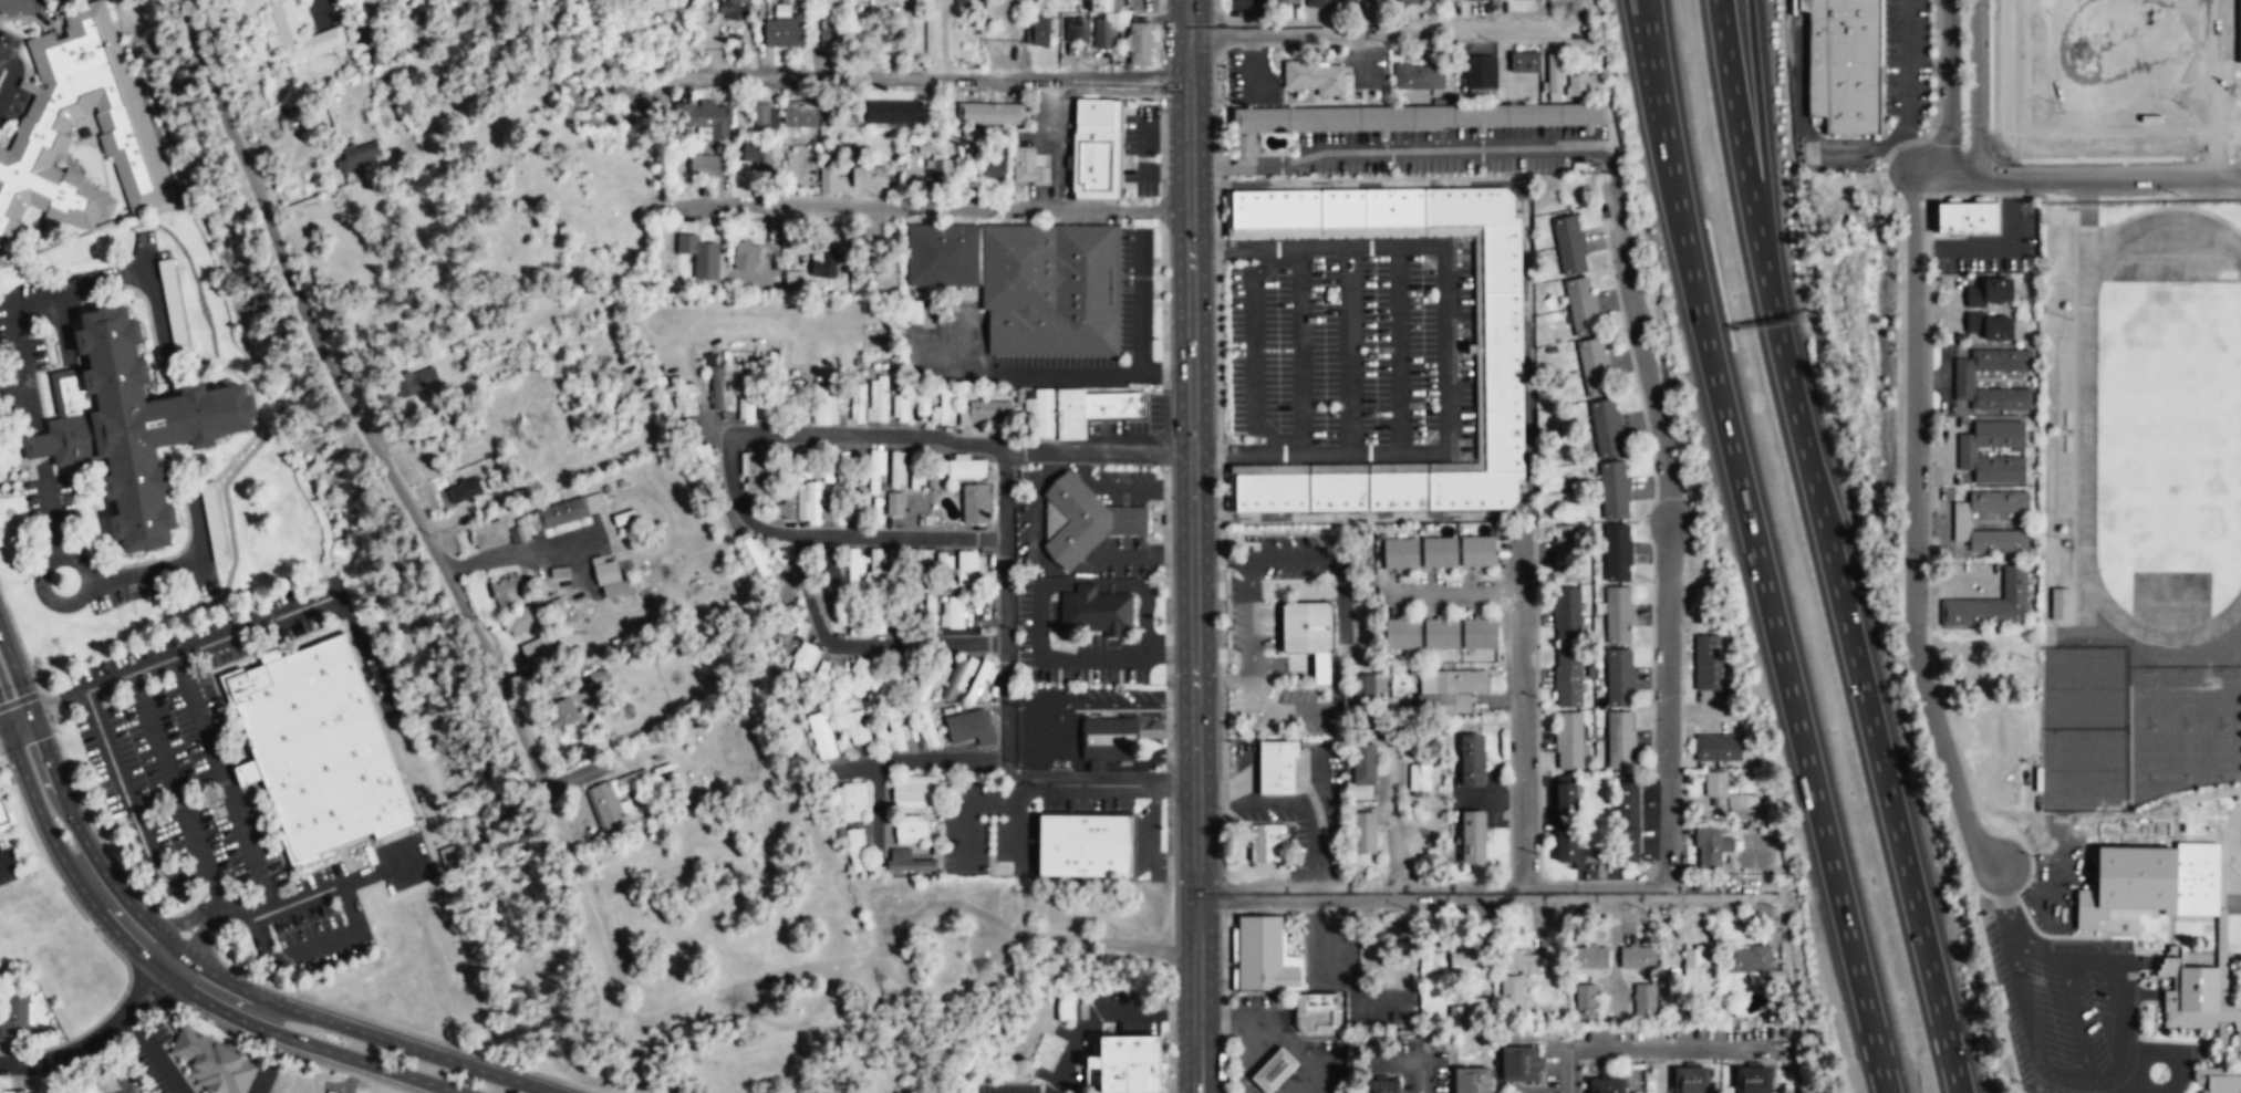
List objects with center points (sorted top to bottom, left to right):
building: (959, 1)
building: (1288, 1)
building: (1410, 2)
building: (1331, 3)
building: (1102, 6)
building: (734, 10)
road: (1251, 14)
road: (1374, 27)
building: (828, 28)
building: (1077, 29)
building: (2240, 30)
building: (1038, 32)
building: (784, 33)
building: (1102, 33)
building: (298, 34)
road: (2118, 39)
building: (1140, 43)
building: (1525, 62)
parking lot: (1366, 64)
building: (1844, 64)
building: (1480, 73)
building: (1316, 76)
parking lot: (2112, 76)
building: (1419, 77)
building: (1554, 77)
road: (940, 79)
parking lot: (1252, 79)
road: (2118, 81)
building: (1580, 85)
road: (2221, 87)
road: (1948, 89)
road: (1975, 89)
road: (1648, 90)
building: (631, 103)
building: (892, 112)
building: (988, 113)
building: (761, 116)
building: (801, 116)
building: (706, 119)
building: (1401, 119)
road: (2231, 125)
road: (2054, 126)
building: (41, 133)
building: (974, 138)
road: (1761, 143)
building: (1097, 147)
road: (1445, 149)
building: (355, 158)
building: (757, 158)
building: (1030, 166)
building: (941, 167)
building: (702, 168)
building: (994, 168)
road: (1608, 168)
road: (1243, 169)
road: (2108, 176)
road: (1946, 177)
building: (865, 178)
building: (828, 179)
building: (1471, 205)
building: (1345, 206)
building: (1398, 206)
road: (930, 208)
building: (1278, 208)
building: (1968, 217)
road: (1315, 246)
building: (1568, 247)
building: (698, 256)
building: (1503, 257)
building: (745, 258)
road: (1266, 261)
building: (823, 267)
building: (676, 272)
building: (881, 275)
building: (795, 280)
building: (1029, 281)
parking lot: (1135, 289)
building: (1990, 292)
building: (1583, 308)
building: (174, 309)
building: (1989, 327)
road: (1443, 334)
road: (1349, 348)
road: (1398, 348)
road: (1254, 350)
road: (1300, 350)
building: (1504, 350)
building: (1594, 368)
parking lot: (1054, 369)
building: (1963, 381)
building: (418, 383)
building: (715, 386)
building: (793, 387)
road: (25, 395)
road: (346, 400)
building: (686, 400)
building: (878, 400)
building: (901, 404)
building: (857, 405)
building: (826, 407)
building: (945, 407)
building: (746, 409)
building: (1094, 409)
building: (985, 414)
building: (1039, 414)
track: (2086, 418)
building: (131, 425)
park: (2168, 426)
building: (1606, 429)
road: (799, 436)
road: (1272, 436)
building: (1505, 440)
road: (1098, 450)
road: (1327, 452)
building: (1967, 452)
building: (703, 454)
building: (961, 469)
building: (896, 470)
building: (875, 472)
building: (755, 476)
building: (916, 478)
building: (477, 488)
building: (1475, 489)
building: (1401, 490)
building: (1341, 491)
building: (1615, 491)
building: (840, 492)
building: (1274, 492)
building: (976, 503)
building: (810, 504)
building: (895, 504)
building: (784, 508)
building: (558, 516)
building: (839, 518)
building: (624, 519)
building: (1087, 519)
building: (1961, 522)
road: (1912, 529)
building: (489, 535)
road: (903, 535)
road: (1669, 539)
road: (1191, 545)
building: (1566, 546)
road: (1754, 548)
road: (1827, 548)
road: (519, 552)
building: (1476, 552)
building: (1438, 553)
building: (1617, 553)
building: (1400, 555)
parking lot: (1284, 556)
building: (757, 558)
building: (922, 558)
building: (876, 565)
road: (584, 566)
building: (853, 569)
building: (968, 569)
building: (943, 570)
building: (558, 577)
building: (611, 580)
building: (507, 591)
road: (1460, 594)
building: (1991, 604)
building: (2060, 604)
road: (1006, 606)
building: (557, 610)
building: (1097, 610)
building: (953, 614)
building: (1618, 615)
building: (1567, 617)
building: (519, 622)
building: (1309, 625)
road: (252, 627)
building: (1403, 635)
building: (1441, 635)
building: (1479, 635)
road: (860, 645)
building: (537, 656)
building: (803, 660)
building: (1710, 664)
building: (860, 677)
building: (1619, 677)
building: (955, 679)
building: (1568, 679)
building: (892, 680)
road: (102, 685)
building: (925, 686)
park: (2085, 687)
building: (1363, 690)
building: (1453, 691)
road: (1522, 718)
road: (15, 724)
building: (971, 728)
park: (2182, 728)
building: (855, 729)
building: (895, 729)
building: (925, 729)
building: (1110, 737)
building: (820, 738)
building: (1620, 739)
building: (1569, 740)
building: (318, 749)
building: (1721, 749)
building: (1471, 761)
building: (1096, 764)
building: (1278, 766)
building: (1363, 766)
road: (167, 769)
park: (2085, 769)
road: (1018, 773)
building: (1419, 781)
road: (1082, 783)
road: (221, 784)
building: (630, 784)
road: (1163, 784)
building: (915, 791)
building: (1722, 791)
building: (1567, 797)
road: (131, 800)
road: (2181, 800)
building: (851, 801)
road: (1391, 810)
building: (608, 812)
building: (2, 819)
building: (1626, 821)
road: (2170, 822)
road: (2234, 830)
building: (911, 831)
building: (1363, 833)
building: (1472, 837)
road: (2179, 841)
building: (1269, 842)
building: (1086, 844)
building: (1568, 846)
building: (853, 849)
building: (1709, 849)
road: (4, 856)
building: (906, 863)
road: (2222, 875)
building: (2149, 882)
road: (326, 887)
road: (1485, 892)
road: (2005, 899)
road: (216, 903)
road: (225, 905)
road: (2114, 922)
road: (2169, 931)
road: (2038, 945)
road: (310, 946)
building: (1264, 953)
building: (1590, 958)
building: (1637, 958)
road: (189, 959)
building: (1749, 960)
building: (1465, 962)
building: (1521, 964)
building: (1700, 965)
road: (801, 966)
road: (165, 974)
road: (2127, 978)
building: (1512, 989)
road: (944, 995)
building: (1643, 1000)
building: (1586, 1002)
building: (1319, 1011)
parking lot: (2073, 1011)
road: (2075, 1018)
building: (17, 1019)
road: (797, 1021)
road: (2030, 1024)
road: (103, 1032)
road: (1253, 1041)
road: (1657, 1044)
road: (167, 1052)
parking lot: (153, 1059)
building: (215, 1061)
road: (267, 1063)
building: (1517, 1063)
building: (1127, 1064)
road: (160, 1065)
building: (1275, 1070)
gas station: (1275, 1070)
road: (2115, 1074)
building: (2218, 1079)
building: (1471, 1080)
building: (1690, 1080)
building: (1752, 1080)
building: (1383, 1085)
building: (1606, 1085)
building: (118, 1087)
road: (1570, 1089)
building: (18, 1092)
building: (89, 1092)

